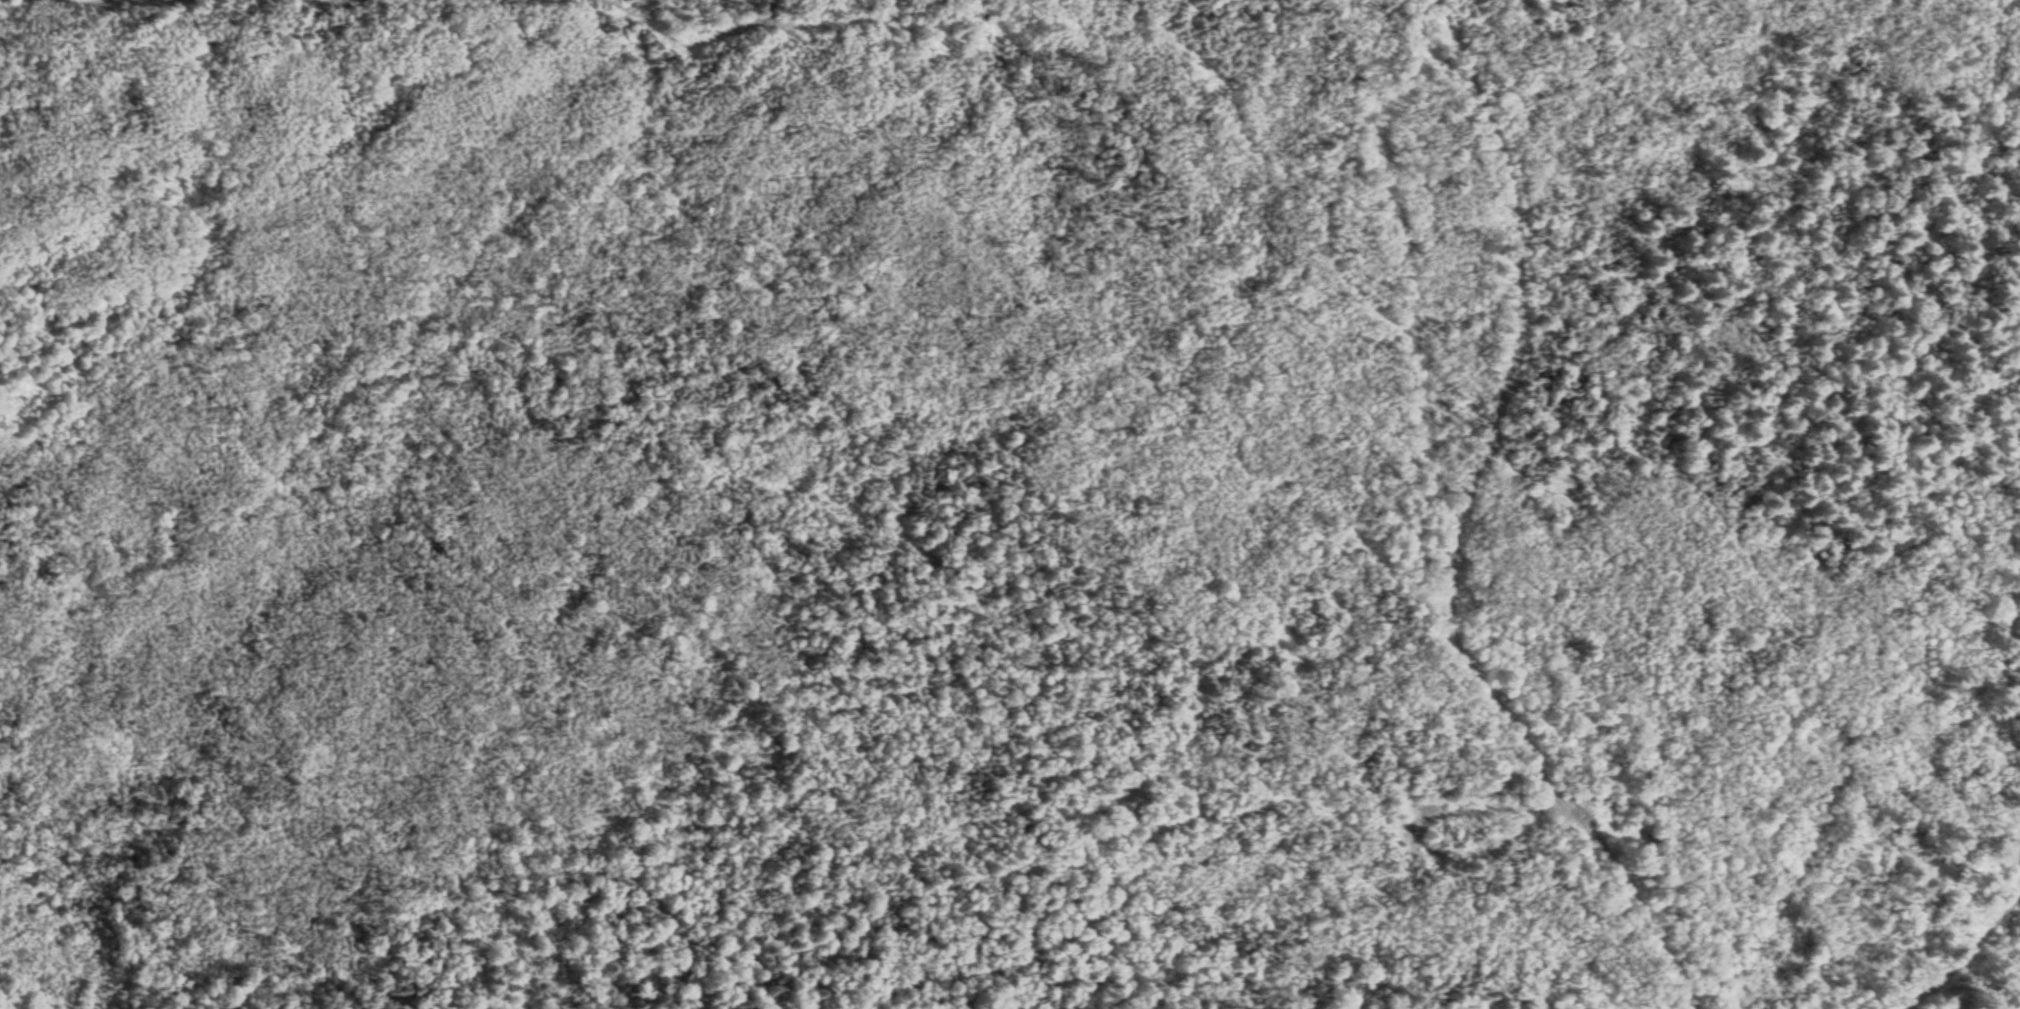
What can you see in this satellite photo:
park: (888, 503)
road: (1921, 918)

